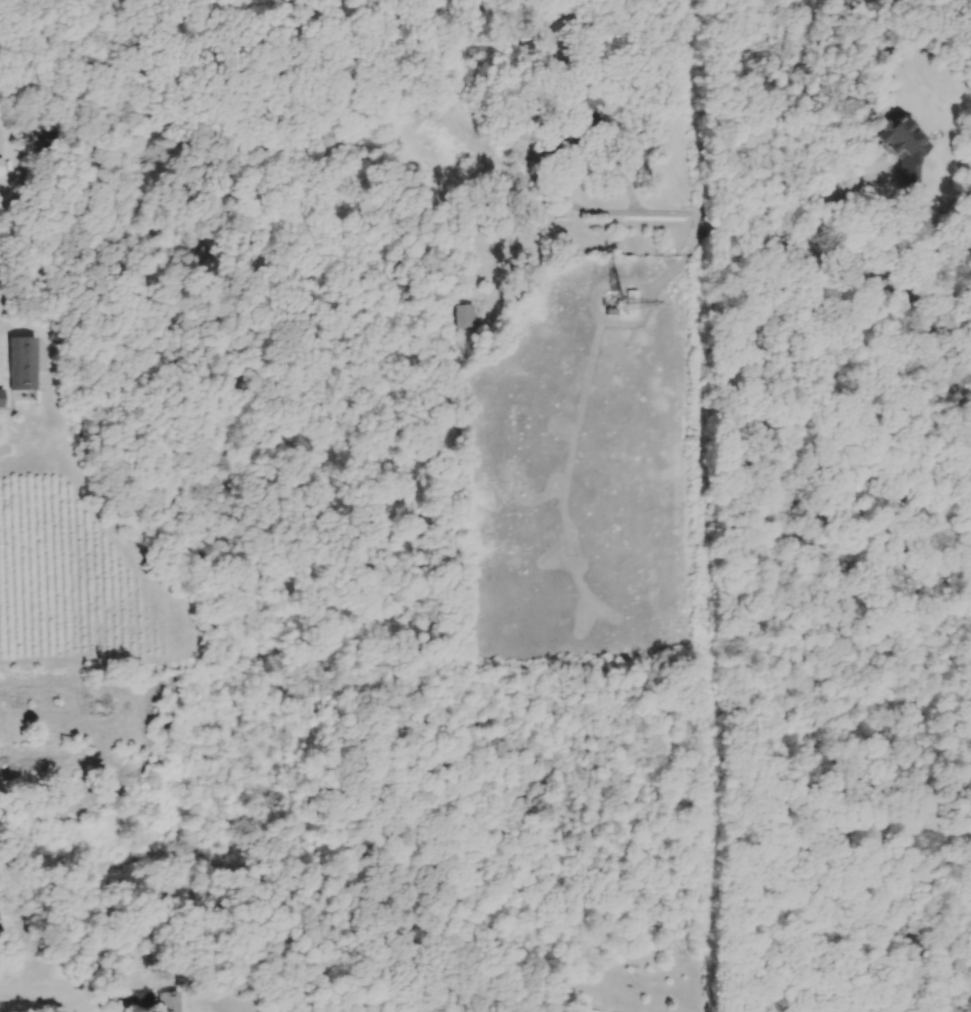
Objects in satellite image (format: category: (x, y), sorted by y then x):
building: (591, 114)
building: (889, 143)
building: (6, 165)
road: (837, 194)
road: (585, 207)
road: (539, 235)
road: (684, 263)
road: (866, 267)
building: (624, 303)
building: (467, 316)
building: (27, 363)
building: (4, 400)
park: (838, 617)
road: (810, 652)
building: (39, 765)
road: (28, 995)
road: (85, 999)
building: (175, 1002)
building: (597, 1011)

